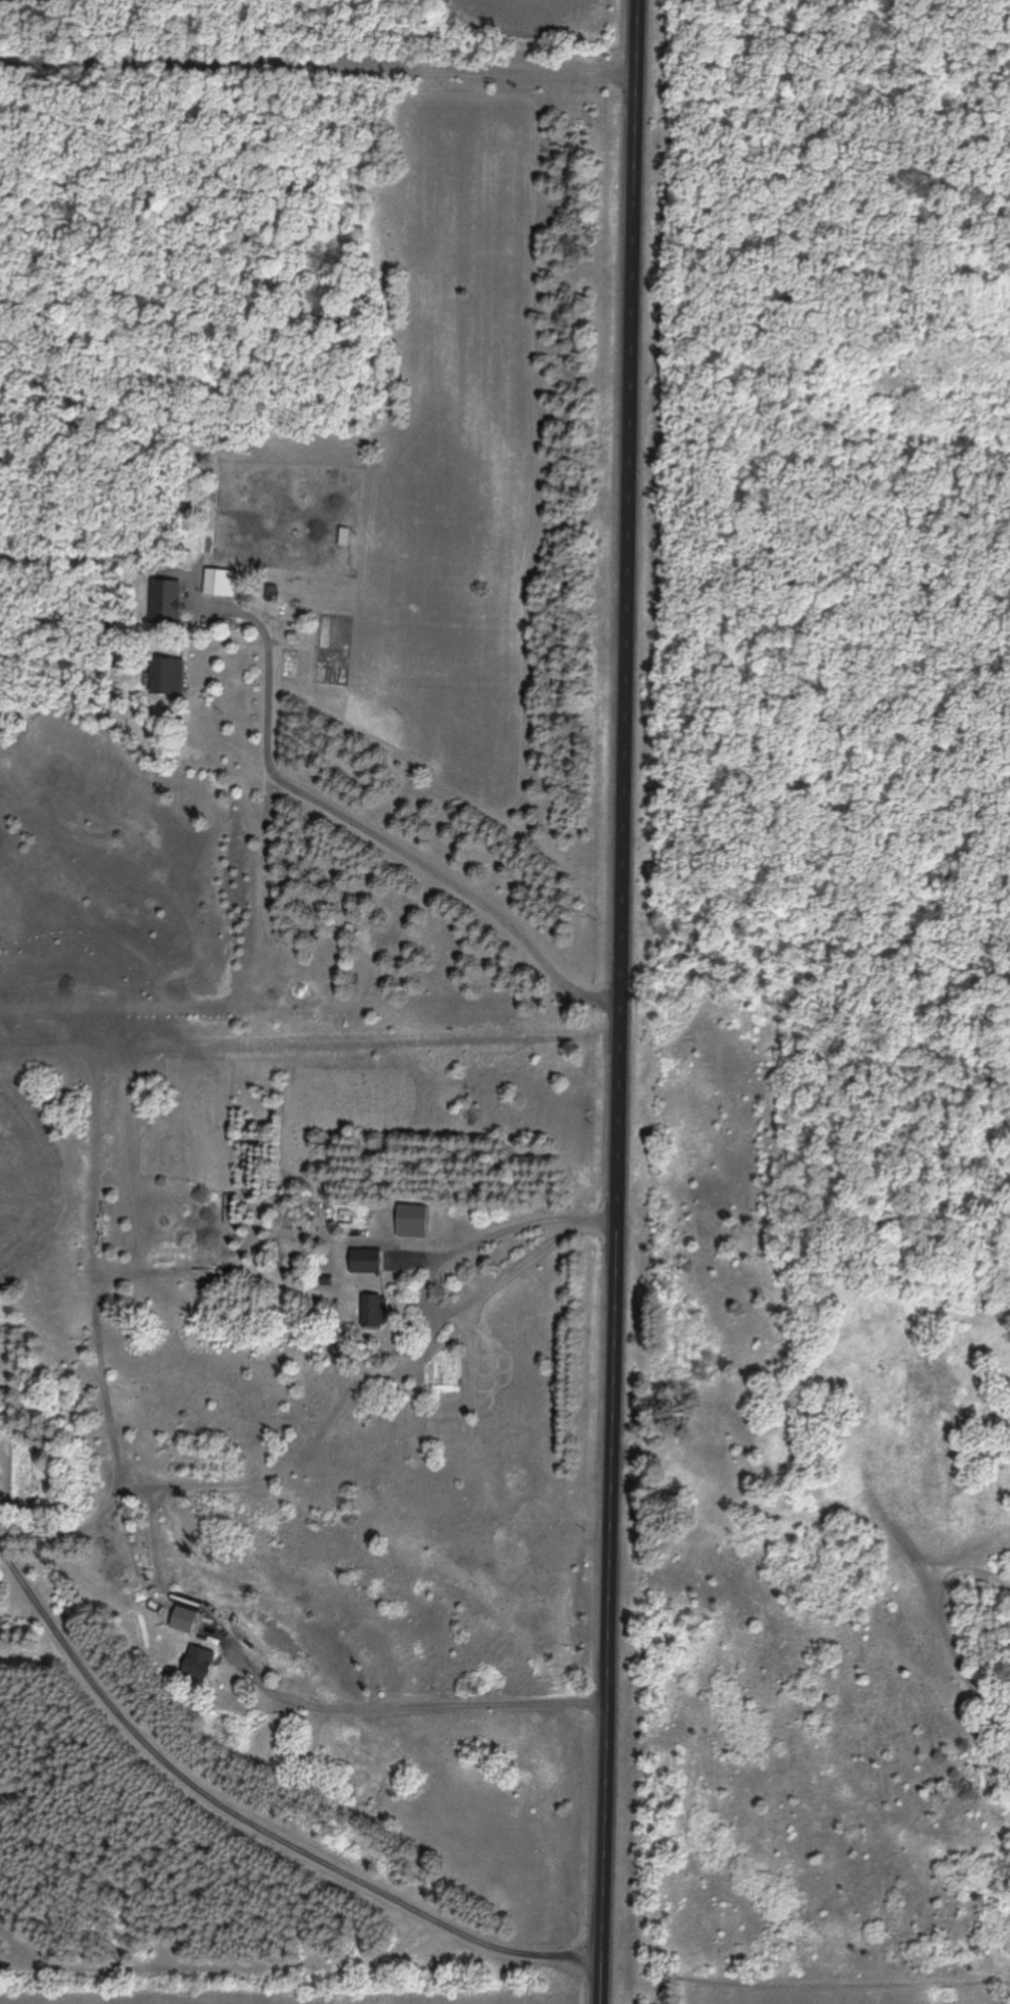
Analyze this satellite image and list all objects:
building: (219, 584)
building: (165, 603)
building: (167, 677)
road: (361, 827)
road: (617, 1001)
park: (816, 1016)
road: (483, 1236)
building: (368, 1262)
building: (377, 1313)
road: (157, 1494)
road: (800, 1521)
building: (184, 1621)
building: (199, 1664)
road: (252, 1838)

